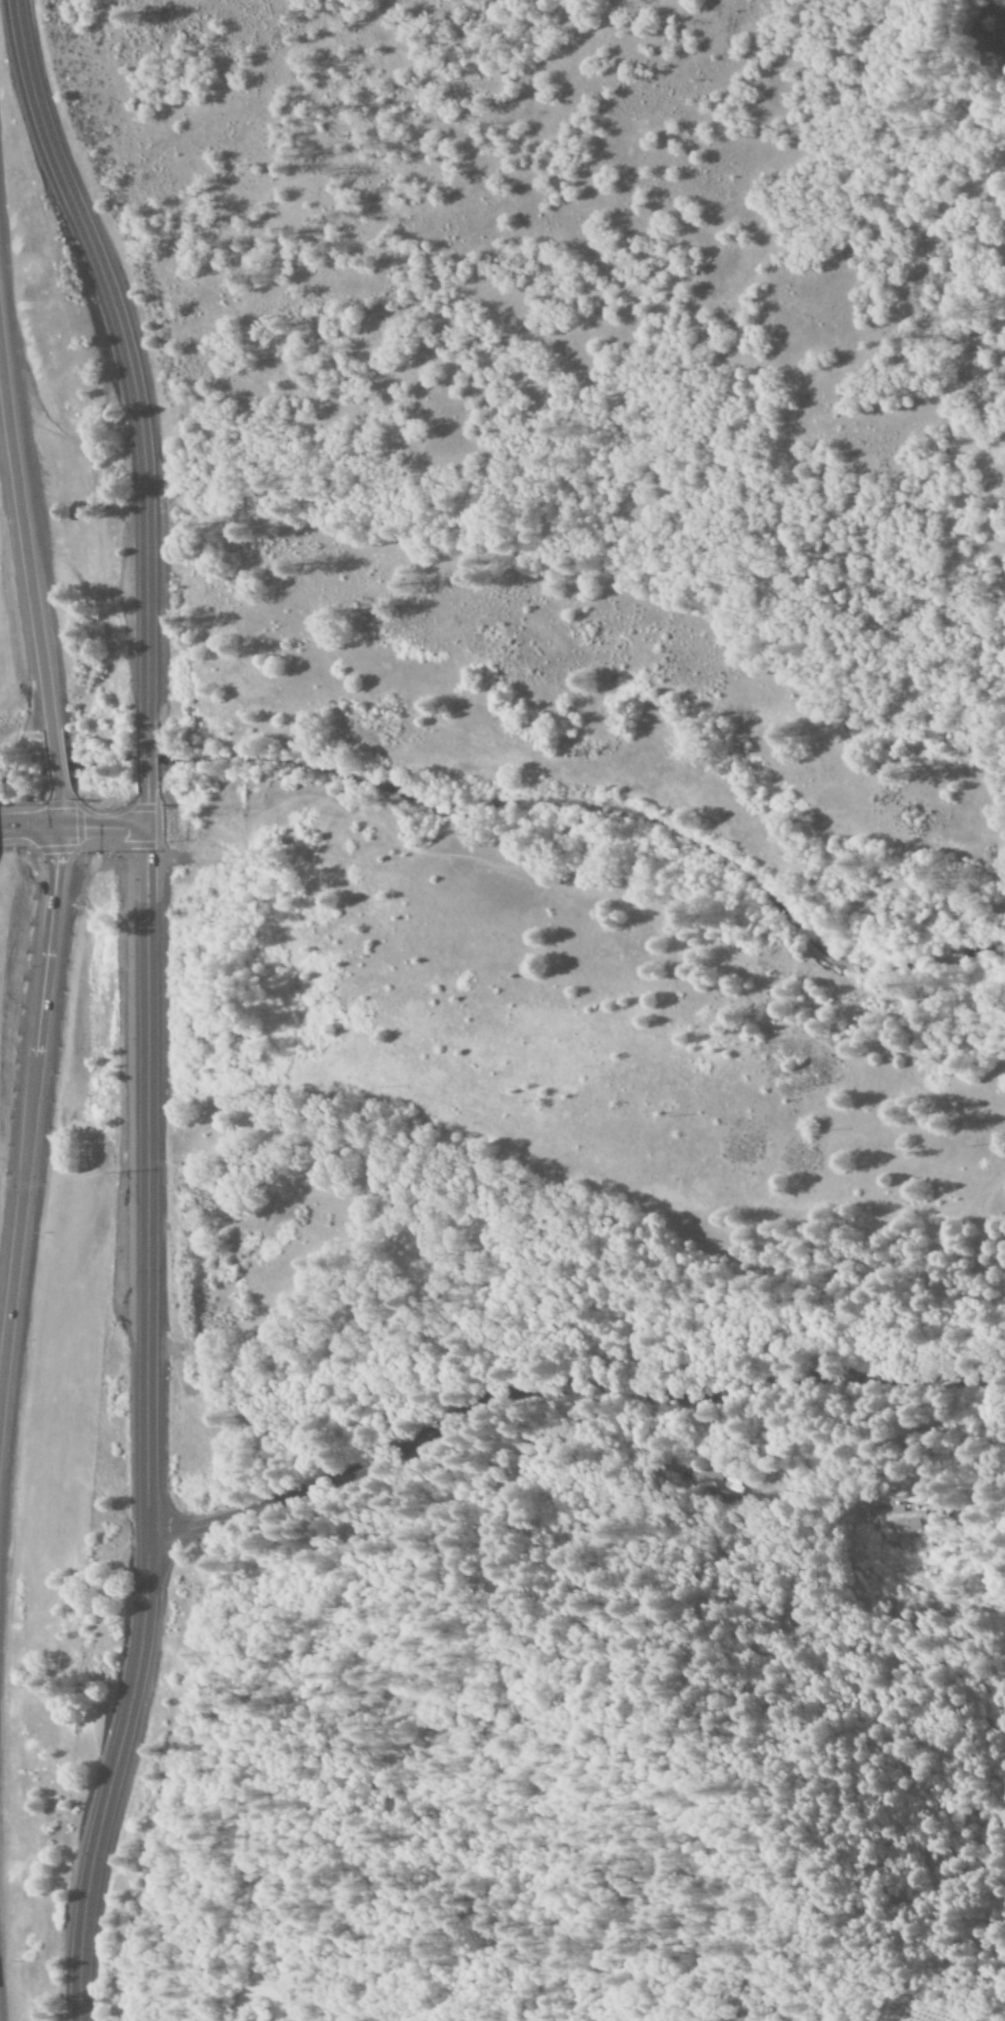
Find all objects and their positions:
road: (134, 402)
road: (28, 529)
road: (73, 823)
road: (28, 1208)
road: (565, 1385)
road: (155, 1426)
building: (895, 1510)

